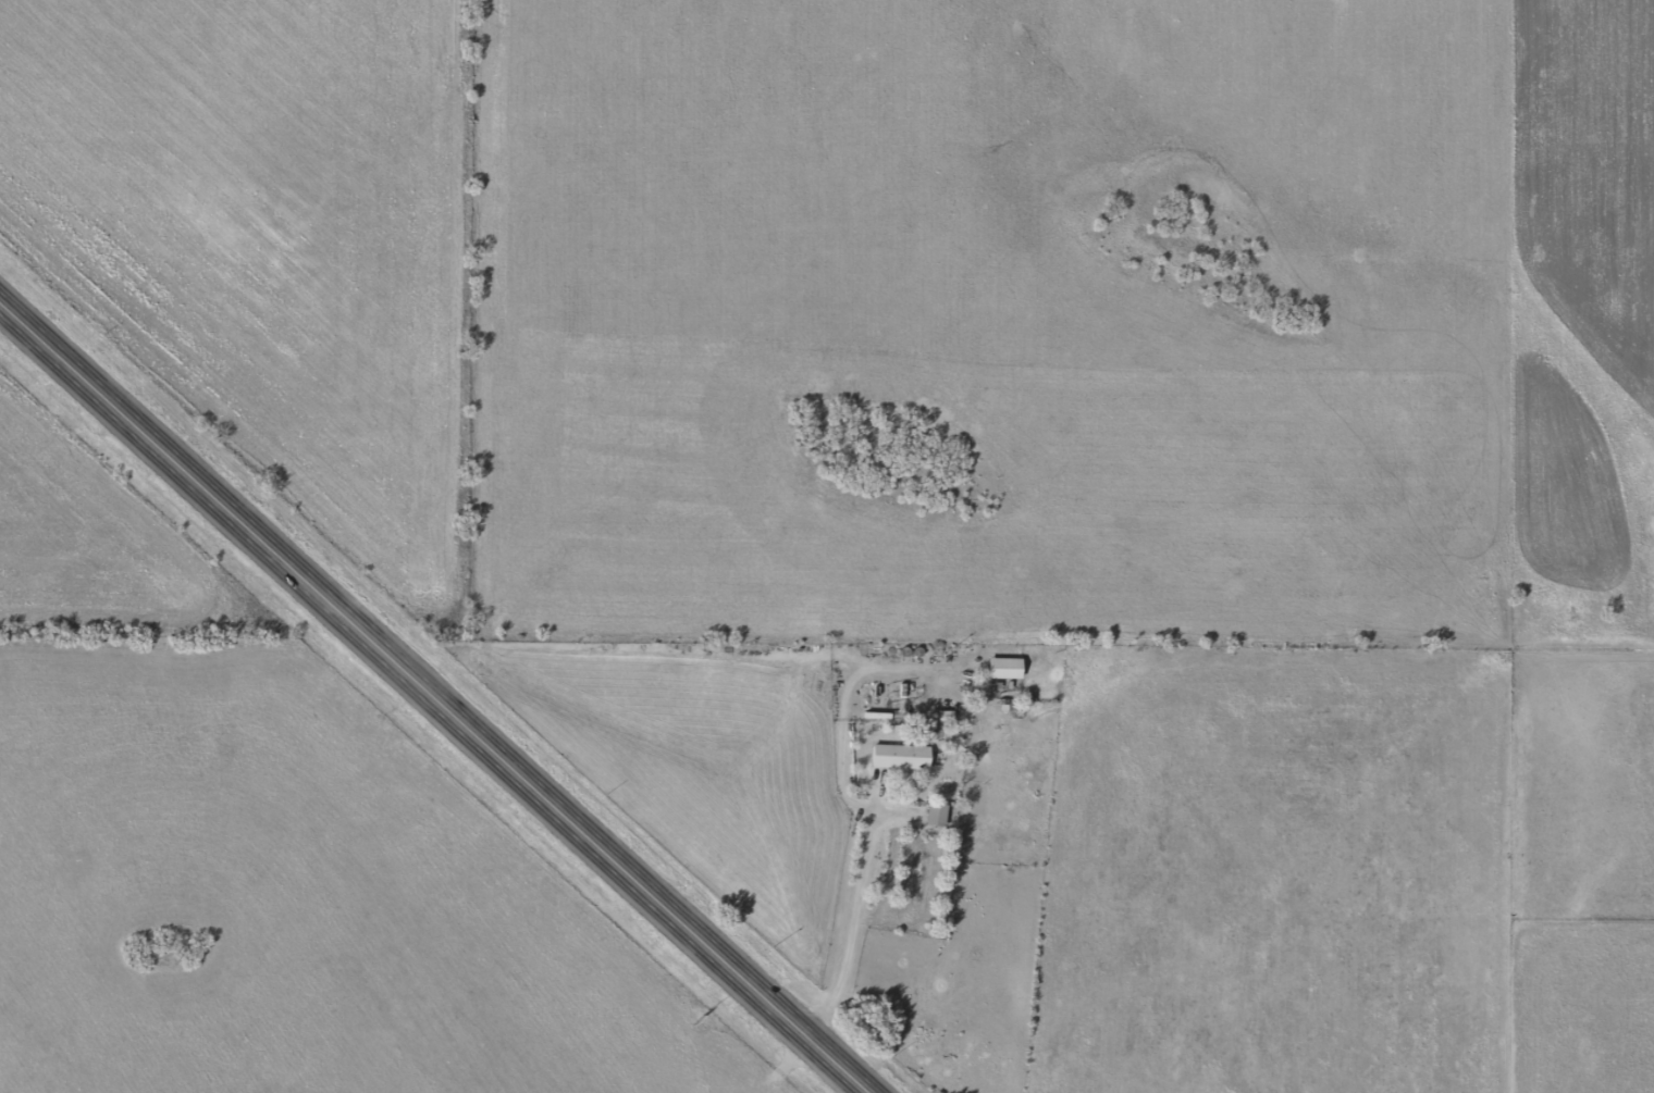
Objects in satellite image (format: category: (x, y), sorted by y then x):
road: (1479, 430)
building: (999, 667)
road: (430, 697)
building: (896, 756)
building: (931, 813)

